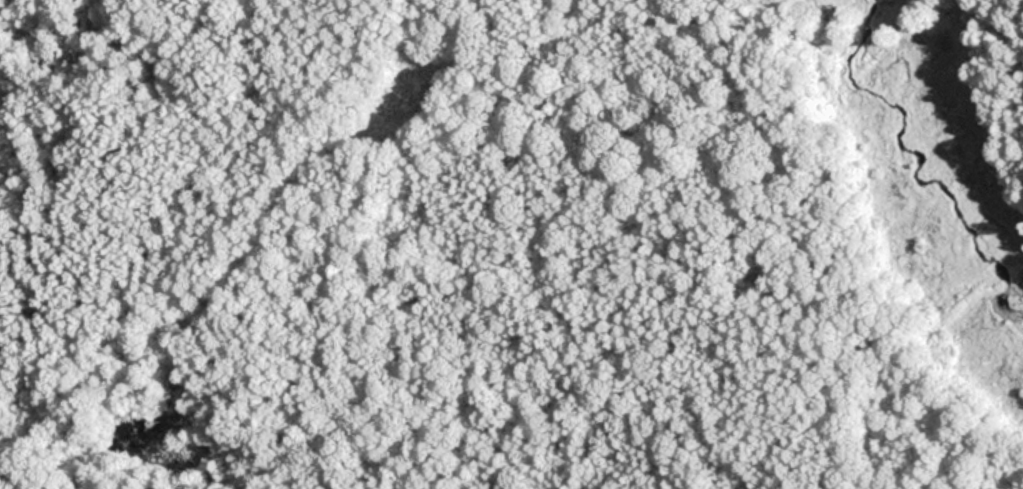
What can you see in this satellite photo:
park: (511, 244)

